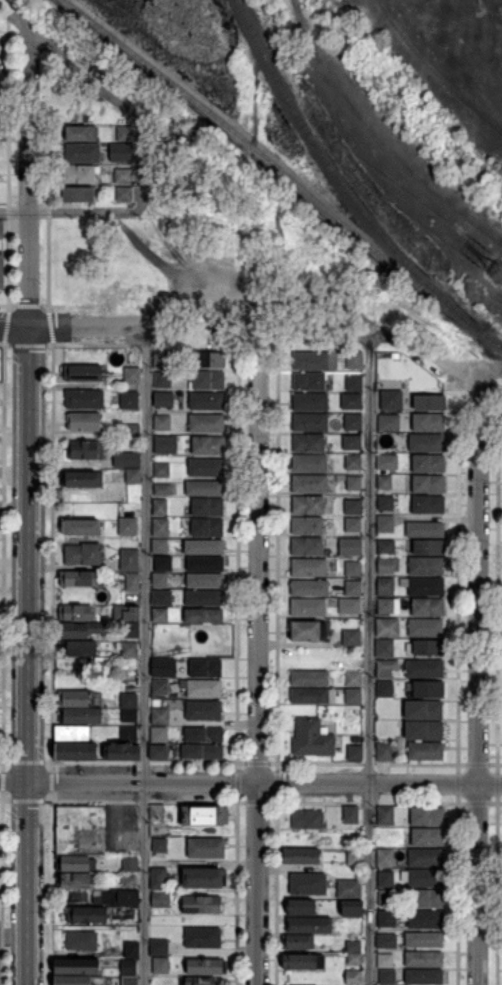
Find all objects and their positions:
road: (22, 15)
road: (86, 75)
building: (81, 133)
building: (126, 133)
building: (125, 151)
building: (82, 152)
railway: (275, 163)
road: (143, 165)
building: (80, 173)
building: (123, 175)
road: (30, 179)
railway: (340, 180)
building: (124, 193)
building: (78, 194)
road: (72, 210)
building: (1, 228)
building: (1, 270)
power tower: (497, 270)
road: (15, 326)
road: (143, 326)
railway: (491, 339)
road: (313, 343)
road: (425, 347)
building: (160, 359)
building: (210, 359)
building: (310, 360)
building: (354, 360)
road: (490, 369)
building: (83, 373)
building: (131, 373)
building: (162, 380)
building: (208, 380)
building: (309, 381)
building: (354, 382)
building: (84, 398)
building: (161, 399)
building: (129, 400)
building: (207, 400)
building: (310, 401)
building: (353, 401)
building: (386, 402)
building: (429, 402)
building: (352, 421)
building: (385, 421)
building: (83, 422)
building: (310, 422)
building: (162, 423)
building: (428, 423)
building: (207, 424)
building: (132, 431)
building: (351, 441)
building: (308, 443)
building: (426, 443)
building: (165, 444)
building: (207, 445)
building: (85, 451)
building: (126, 459)
building: (352, 462)
building: (387, 462)
building: (309, 463)
building: (428, 464)
building: (206, 468)
building: (162, 471)
building: (133, 476)
building: (333, 479)
building: (81, 480)
building: (386, 482)
building: (355, 483)
building: (308, 484)
building: (428, 485)
building: (204, 488)
building: (163, 489)
building: (385, 503)
building: (427, 504)
building: (307, 505)
building: (159, 507)
building: (207, 508)
building: (352, 508)
building: (385, 524)
building: (353, 525)
building: (307, 526)
building: (127, 527)
building: (80, 528)
building: (162, 528)
building: (207, 528)
building: (424, 529)
building: (306, 546)
building: (353, 546)
building: (159, 547)
building: (204, 547)
building: (386, 547)
building: (428, 547)
building: (82, 554)
building: (128, 560)
building: (162, 563)
building: (205, 564)
building: (387, 565)
building: (425, 566)
building: (308, 567)
building: (352, 569)
road: (478, 577)
building: (76, 579)
building: (159, 580)
building: (205, 581)
building: (132, 583)
building: (385, 587)
building: (423, 587)
building: (309, 588)
building: (352, 588)
building: (159, 597)
building: (204, 597)
building: (349, 606)
building: (388, 606)
building: (308, 607)
building: (426, 607)
building: (76, 613)
building: (126, 613)
building: (160, 615)
building: (203, 615)
building: (387, 627)
building: (425, 627)
building: (80, 630)
building: (131, 630)
building: (308, 631)
building: (351, 638)
building: (81, 648)
building: (383, 648)
building: (425, 648)
building: (129, 650)
road: (27, 655)
road: (144, 655)
road: (257, 656)
road: (369, 661)
building: (205, 667)
building: (163, 668)
building: (386, 668)
building: (423, 669)
building: (309, 679)
building: (352, 679)
building: (160, 688)
building: (201, 688)
building: (385, 689)
building: (426, 690)
building: (352, 696)
building: (309, 697)
building: (75, 698)
building: (128, 701)
building: (202, 710)
building: (423, 710)
building: (80, 716)
building: (129, 716)
building: (160, 716)
building: (423, 730)
building: (203, 734)
building: (72, 735)
building: (128, 735)
building: (159, 736)
building: (312, 739)
building: (75, 751)
building: (425, 751)
building: (121, 752)
building: (385, 752)
building: (159, 753)
building: (202, 753)
building: (355, 753)
road: (251, 782)
building: (157, 812)
building: (350, 814)
building: (204, 815)
building: (385, 816)
building: (426, 817)
building: (306, 820)
building: (406, 829)
building: (80, 830)
building: (378, 835)
building: (427, 838)
building: (160, 846)
building: (206, 849)
building: (300, 856)
building: (356, 857)
building: (387, 857)
building: (425, 858)
building: (75, 864)
building: (130, 864)
building: (159, 878)
building: (204, 878)
building: (422, 878)
building: (385, 879)
building: (75, 880)
building: (128, 882)
building: (307, 884)
road: (478, 884)
building: (348, 889)
building: (74, 896)
building: (386, 897)
building: (120, 898)
building: (426, 899)
building: (160, 900)
building: (201, 905)
building: (299, 907)
building: (351, 908)
building: (86, 915)
building: (386, 918)
building: (422, 919)
building: (309, 925)
building: (203, 938)
building: (80, 940)
building: (386, 940)
building: (423, 940)
building: (298, 941)
building: (350, 946)
building: (159, 947)
building: (131, 950)
building: (385, 958)
building: (353, 959)
building: (423, 959)
building: (302, 962)
building: (160, 965)
building: (75, 967)
building: (128, 967)
building: (206, 967)
building: (387, 977)
building: (423, 977)
building: (352, 978)
building: (129, 980)
building: (71, 981)
building: (196, 981)

